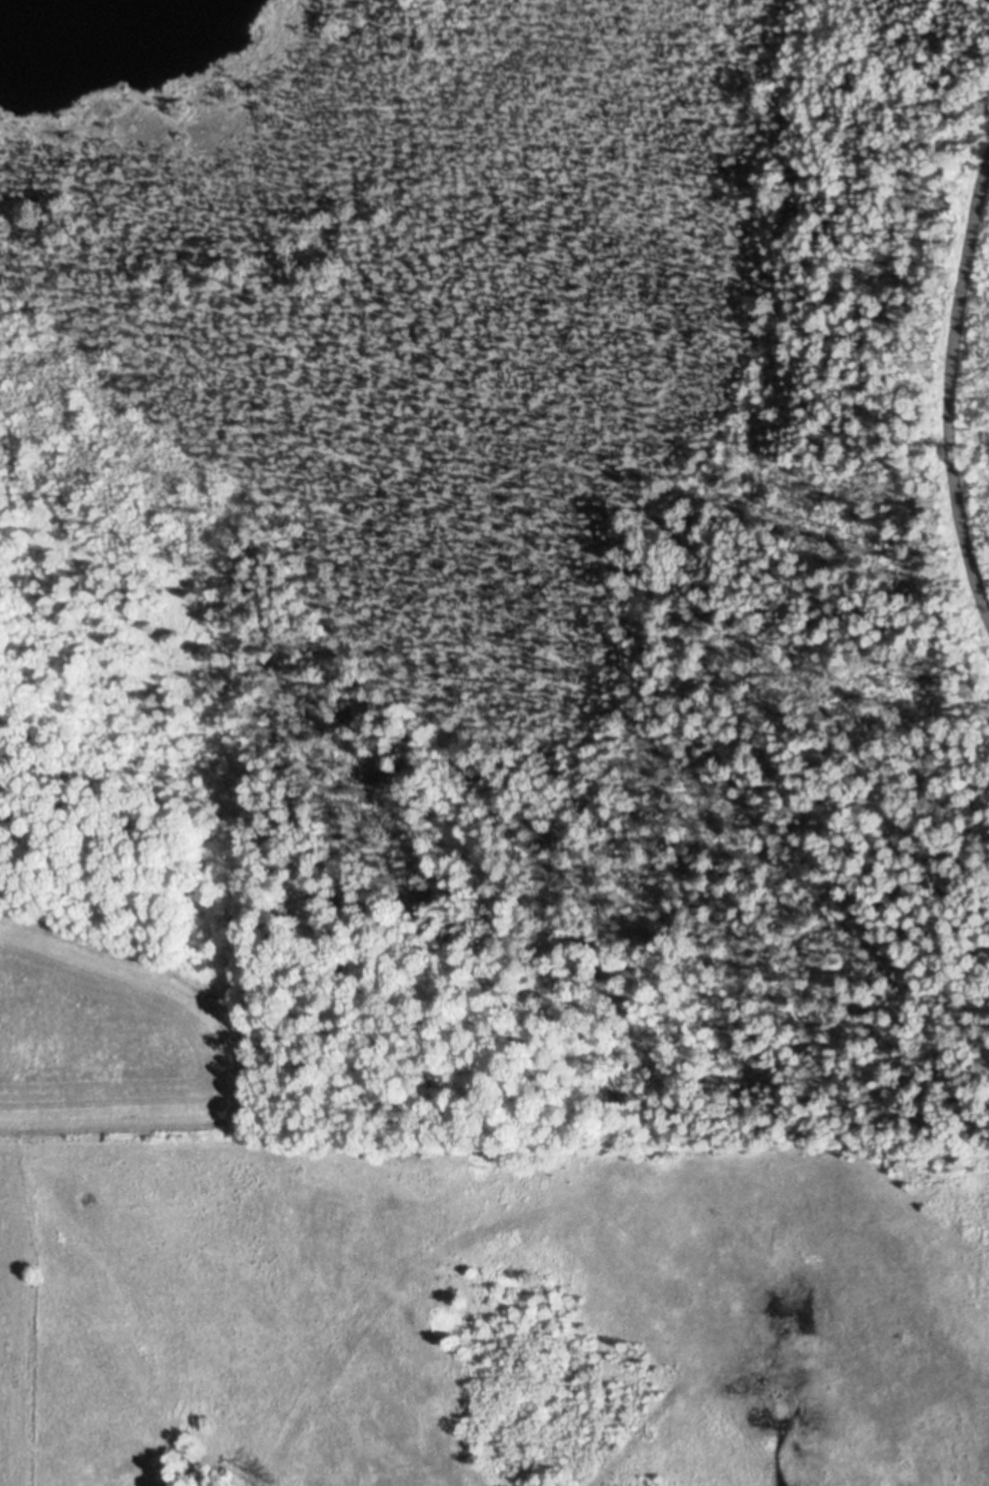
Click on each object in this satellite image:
road: (944, 390)

